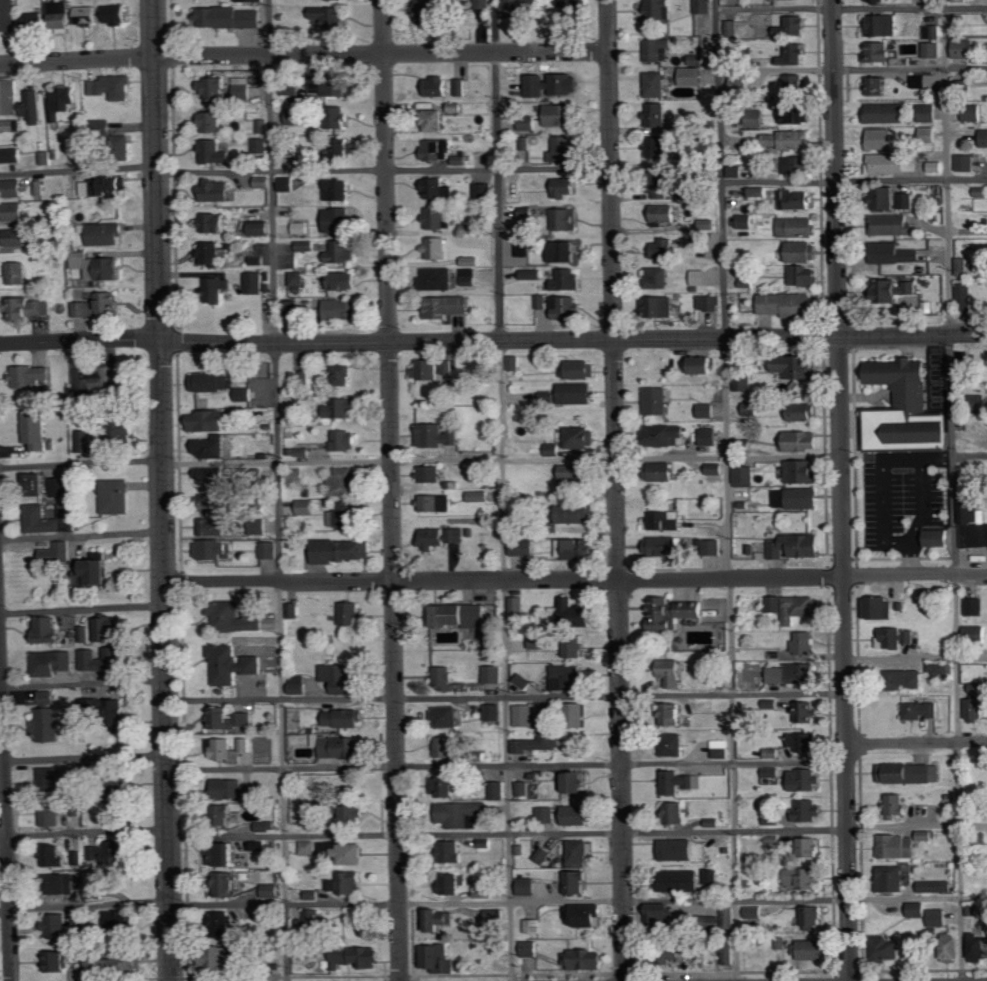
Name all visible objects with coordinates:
building: (254, 0)
building: (329, 0)
building: (875, 0)
building: (480, 4)
building: (703, 6)
road: (850, 6)
building: (572, 7)
building: (520, 8)
building: (660, 9)
building: (429, 11)
building: (60, 13)
building: (116, 14)
building: (7, 15)
building: (328, 17)
building: (230, 18)
building: (34, 22)
building: (794, 25)
building: (882, 25)
building: (931, 32)
building: (657, 48)
building: (965, 48)
building: (932, 49)
building: (878, 51)
building: (795, 54)
road: (304, 55)
building: (697, 59)
road: (852, 68)
building: (693, 76)
building: (919, 81)
building: (556, 83)
building: (656, 84)
building: (337, 85)
building: (797, 85)
building: (243, 86)
building: (435, 86)
building: (740, 86)
building: (876, 86)
building: (112, 87)
building: (292, 87)
building: (460, 87)
building: (213, 88)
building: (511, 91)
building: (9, 97)
building: (62, 102)
building: (33, 106)
building: (453, 107)
building: (888, 113)
building: (928, 113)
building: (560, 115)
building: (656, 115)
building: (796, 115)
building: (973, 115)
building: (296, 117)
building: (338, 117)
building: (433, 117)
building: (211, 122)
building: (756, 122)
building: (527, 123)
building: (8, 125)
building: (261, 126)
building: (929, 134)
building: (984, 138)
building: (881, 139)
building: (788, 140)
building: (524, 143)
building: (258, 145)
building: (125, 146)
building: (661, 147)
building: (561, 148)
building: (437, 149)
building: (340, 150)
building: (216, 152)
building: (12, 155)
building: (46, 158)
building: (461, 160)
building: (965, 162)
building: (892, 163)
building: (798, 165)
road: (79, 169)
road: (158, 170)
road: (384, 170)
road: (854, 181)
building: (262, 182)
building: (286, 184)
building: (659, 185)
building: (104, 186)
building: (13, 188)
building: (40, 188)
building: (564, 188)
building: (437, 189)
building: (218, 190)
building: (339, 190)
building: (484, 190)
building: (759, 191)
building: (980, 191)
building: (885, 198)
building: (796, 199)
building: (906, 201)
building: (17, 211)
building: (663, 213)
building: (435, 218)
building: (566, 219)
building: (339, 220)
building: (745, 221)
building: (213, 223)
building: (707, 224)
building: (894, 225)
building: (796, 227)
building: (301, 228)
building: (263, 229)
building: (104, 234)
building: (17, 237)
building: (306, 245)
building: (524, 246)
building: (435, 248)
building: (663, 249)
building: (343, 251)
building: (563, 251)
building: (803, 251)
building: (211, 253)
building: (894, 253)
building: (258, 260)
building: (470, 261)
building: (98, 267)
building: (961, 269)
building: (17, 273)
building: (532, 274)
building: (469, 277)
building: (659, 277)
building: (803, 277)
building: (297, 279)
building: (439, 279)
building: (568, 279)
building: (344, 281)
building: (255, 283)
building: (893, 290)
building: (964, 295)
building: (541, 301)
building: (708, 303)
building: (109, 304)
building: (787, 304)
building: (449, 306)
building: (660, 306)
building: (568, 307)
building: (29, 308)
building: (83, 309)
building: (343, 309)
building: (294, 310)
road: (81, 341)
road: (574, 341)
building: (704, 365)
building: (794, 366)
building: (838, 367)
building: (432, 369)
building: (582, 369)
building: (343, 374)
building: (31, 376)
building: (115, 376)
building: (299, 376)
building: (90, 378)
building: (212, 381)
building: (743, 383)
building: (576, 393)
building: (246, 394)
building: (657, 401)
building: (975, 404)
building: (343, 407)
building: (750, 409)
building: (901, 409)
building: (706, 411)
building: (805, 412)
building: (208, 421)
building: (36, 430)
building: (115, 433)
building: (666, 435)
building: (437, 436)
building: (708, 437)
building: (581, 438)
building: (84, 441)
building: (345, 441)
building: (802, 441)
building: (211, 448)
building: (552, 450)
road: (493, 459)
building: (664, 471)
building: (803, 472)
building: (430, 474)
building: (297, 476)
building: (572, 476)
building: (212, 477)
building: (745, 477)
building: (33, 480)
building: (343, 481)
building: (61, 488)
road: (178, 490)
road: (276, 490)
road: (391, 490)
road: (501, 490)
road: (616, 490)
road: (726, 490)
road: (841, 490)
road: (952, 490)
building: (118, 496)
building: (478, 496)
building: (797, 498)
building: (214, 502)
building: (437, 503)
building: (306, 507)
building: (36, 511)
building: (343, 514)
building: (579, 514)
building: (666, 521)
building: (970, 523)
building: (213, 527)
road: (81, 532)
building: (441, 537)
building: (934, 537)
building: (662, 546)
building: (712, 546)
building: (797, 546)
building: (522, 547)
building: (213, 549)
building: (575, 549)
building: (268, 550)
building: (343, 551)
building: (56, 553)
building: (100, 572)
road: (575, 581)
building: (516, 604)
building: (794, 606)
building: (878, 606)
building: (975, 607)
road: (82, 608)
building: (292, 610)
building: (672, 612)
building: (351, 613)
building: (570, 613)
building: (462, 614)
building: (235, 615)
building: (108, 628)
building: (48, 629)
building: (977, 631)
building: (82, 634)
building: (896, 637)
building: (538, 642)
building: (803, 643)
building: (574, 646)
road: (916, 656)
building: (105, 661)
road: (165, 661)
building: (53, 663)
building: (233, 664)
building: (938, 668)
building: (493, 673)
building: (794, 673)
building: (672, 676)
building: (343, 677)
building: (445, 677)
building: (568, 677)
building: (909, 678)
building: (523, 681)
road: (82, 682)
building: (298, 684)
building: (975, 689)
road: (505, 695)
building: (47, 697)
building: (771, 702)
building: (92, 707)
building: (975, 707)
building: (807, 710)
building: (920, 710)
building: (494, 711)
building: (575, 711)
building: (674, 713)
building: (523, 715)
building: (447, 716)
building: (229, 717)
building: (344, 717)
building: (49, 724)
building: (807, 740)
building: (537, 742)
road: (916, 743)
building: (674, 744)
building: (338, 746)
building: (444, 746)
building: (229, 748)
building: (722, 749)
building: (772, 752)
road: (83, 756)
road: (507, 763)
building: (771, 772)
building: (912, 772)
building: (49, 777)
building: (806, 779)
building: (678, 782)
building: (577, 783)
building: (447, 784)
building: (522, 788)
building: (237, 789)
building: (496, 790)
building: (116, 799)
building: (895, 805)
building: (810, 809)
building: (350, 811)
building: (676, 812)
building: (52, 813)
building: (465, 813)
building: (546, 814)
building: (576, 814)
building: (773, 819)
road: (6, 821)
building: (267, 825)
building: (316, 826)
road: (805, 830)
road: (84, 832)
road: (396, 834)
building: (904, 844)
building: (261, 845)
building: (809, 846)
building: (307, 847)
building: (677, 849)
building: (452, 850)
building: (580, 851)
building: (109, 852)
building: (230, 852)
building: (347, 853)
building: (544, 853)
building: (55, 855)
building: (711, 876)
building: (804, 877)
building: (892, 878)
building: (577, 880)
building: (678, 880)
building: (229, 882)
building: (346, 882)
building: (67, 883)
building: (451, 883)
building: (527, 884)
building: (937, 886)
building: (485, 889)
building: (271, 890)
building: (96, 892)
building: (314, 894)
road: (579, 900)
road: (85, 905)
building: (752, 912)
building: (495, 913)
building: (660, 913)
building: (928, 913)
building: (265, 914)
building: (339, 914)
building: (585, 914)
building: (121, 917)
building: (814, 917)
building: (436, 919)
building: (57, 924)
building: (533, 926)
building: (780, 942)
building: (951, 946)
building: (979, 947)
building: (887, 948)
building: (811, 949)
building: (728, 951)
building: (218, 956)
building: (357, 956)
building: (438, 957)
building: (585, 958)
building: (95, 959)
building: (60, 960)
building: (131, 960)
road: (974, 980)

